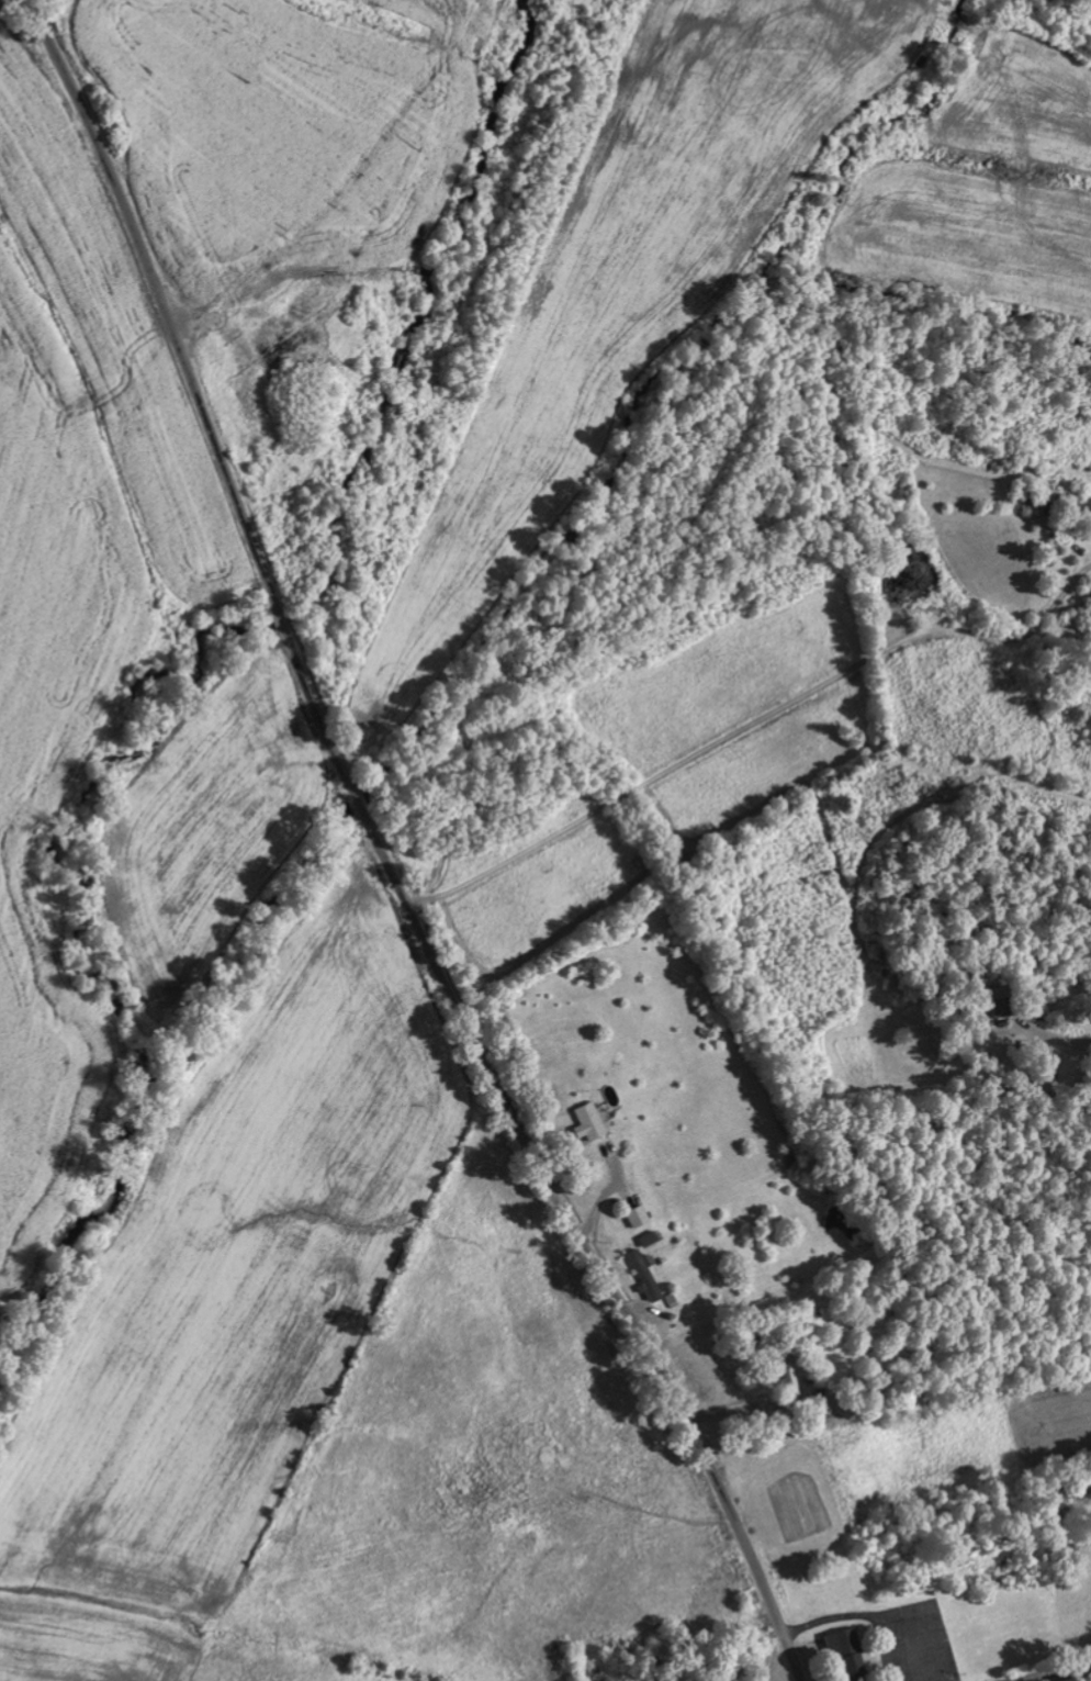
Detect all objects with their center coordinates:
road: (380, 855)
building: (999, 1000)
building: (586, 1120)
building: (634, 1214)
building: (645, 1237)
building: (643, 1275)
building: (845, 1650)
road: (1031, 1667)

